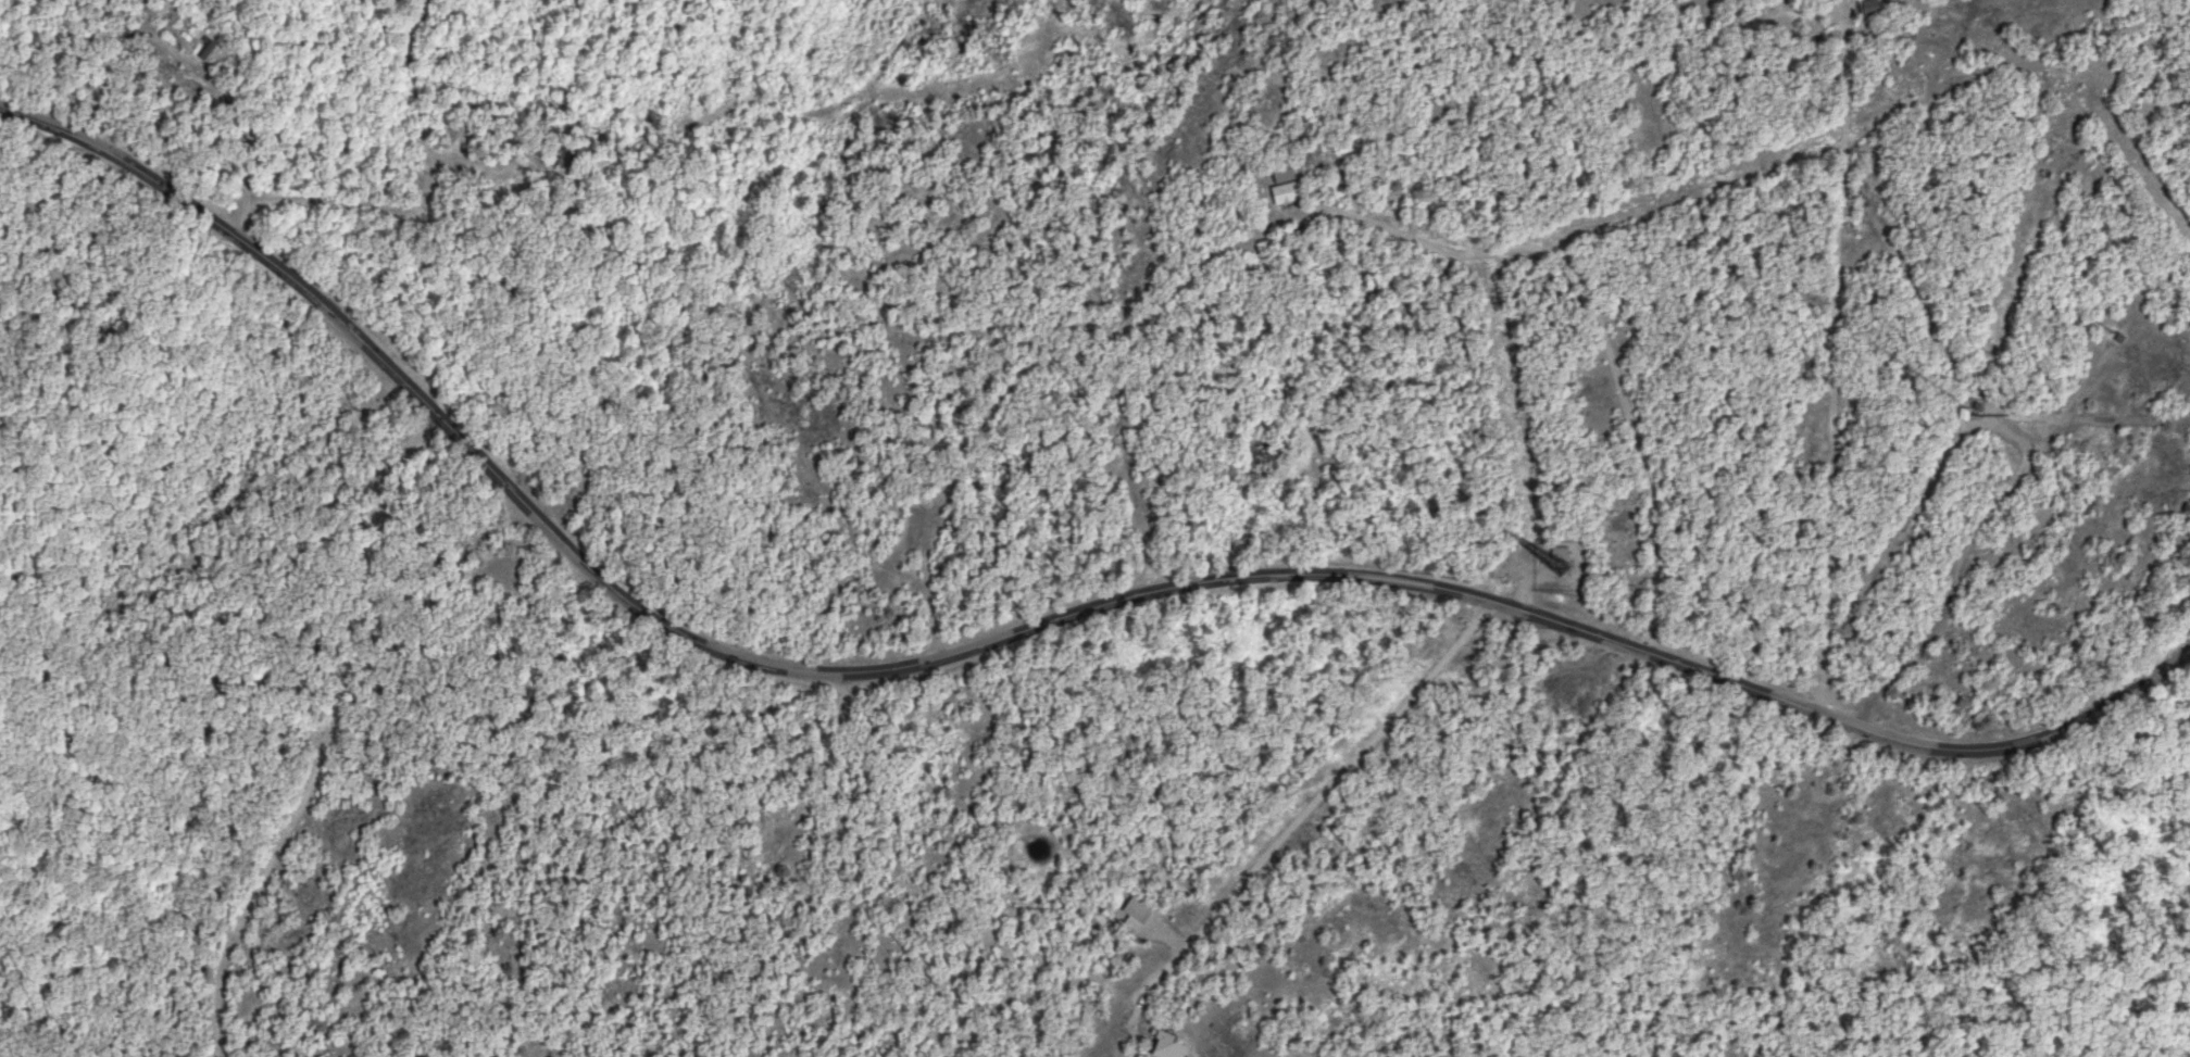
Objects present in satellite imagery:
building: (1797, 0)
building: (1869, 8)
building: (564, 159)
building: (1290, 176)
road: (1834, 358)
road: (1022, 630)
building: (2165, 671)
road: (834, 704)
road: (514, 720)
road: (325, 728)
building: (2013, 838)

